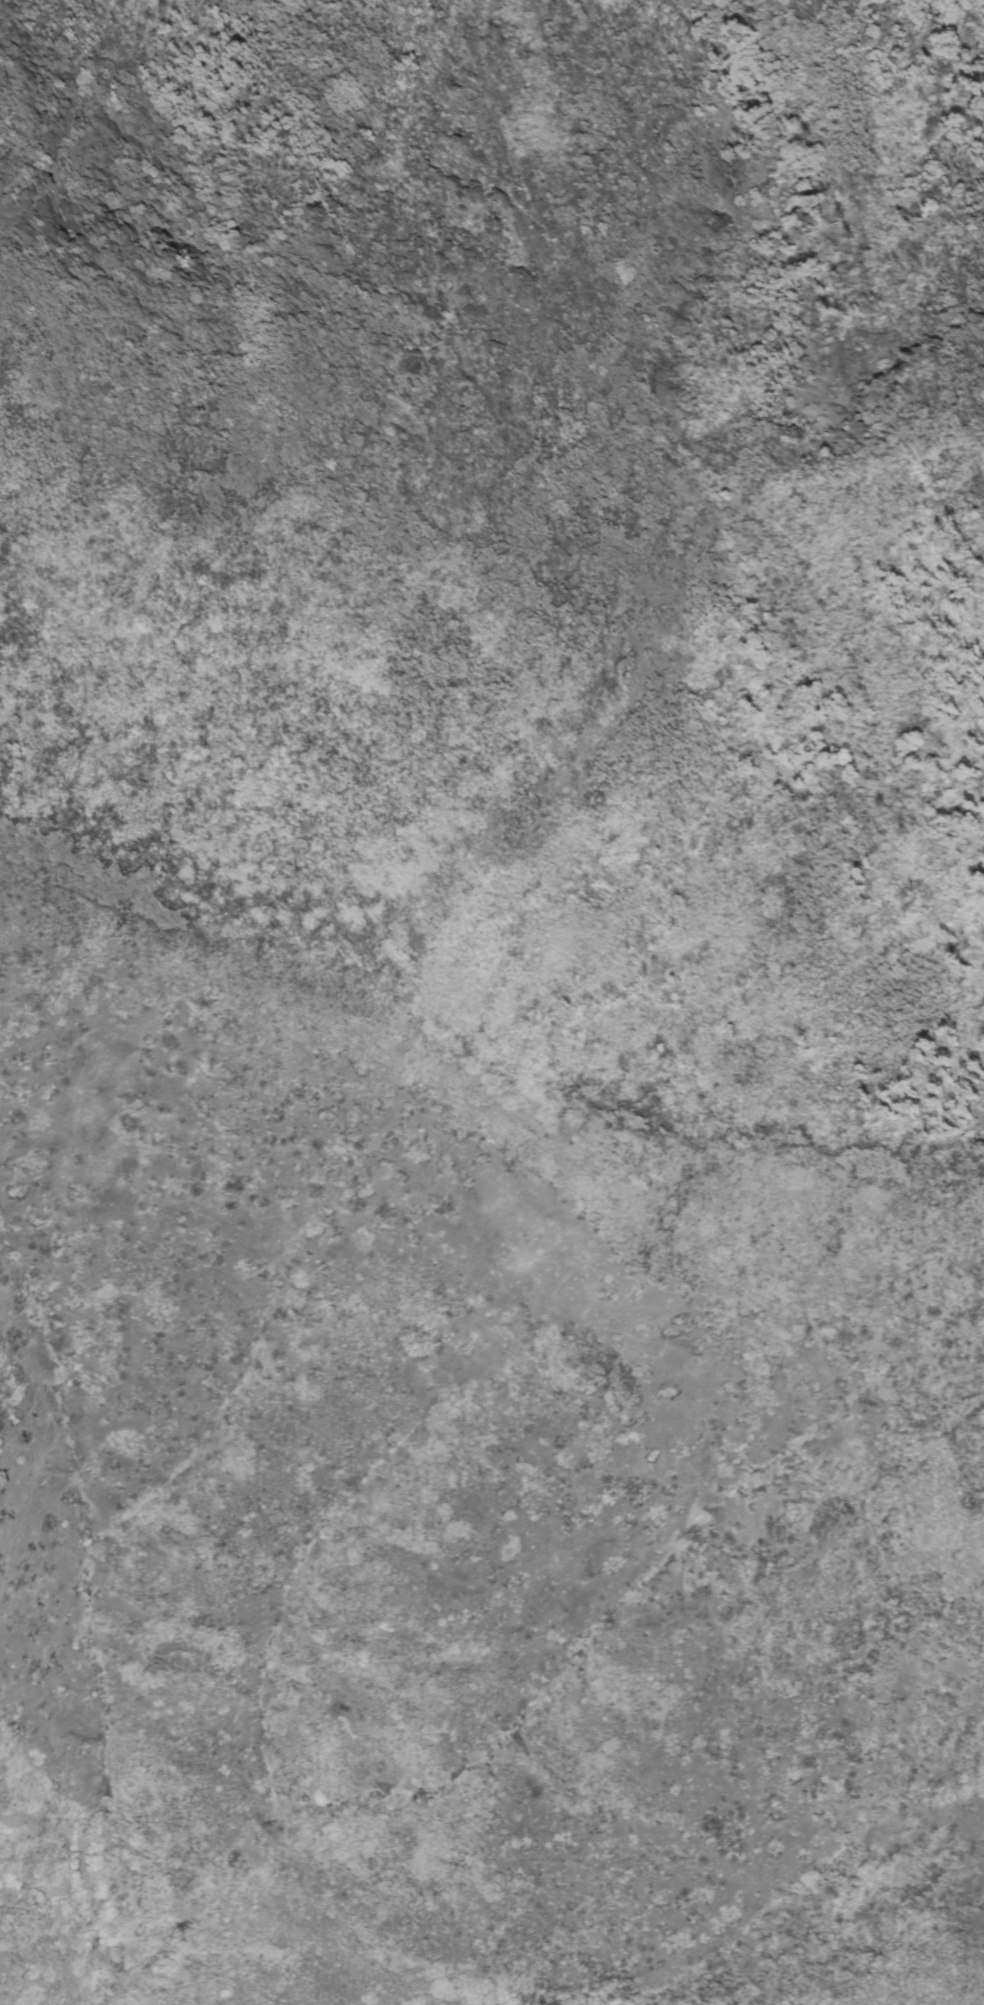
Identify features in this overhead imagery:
road: (526, 1251)

